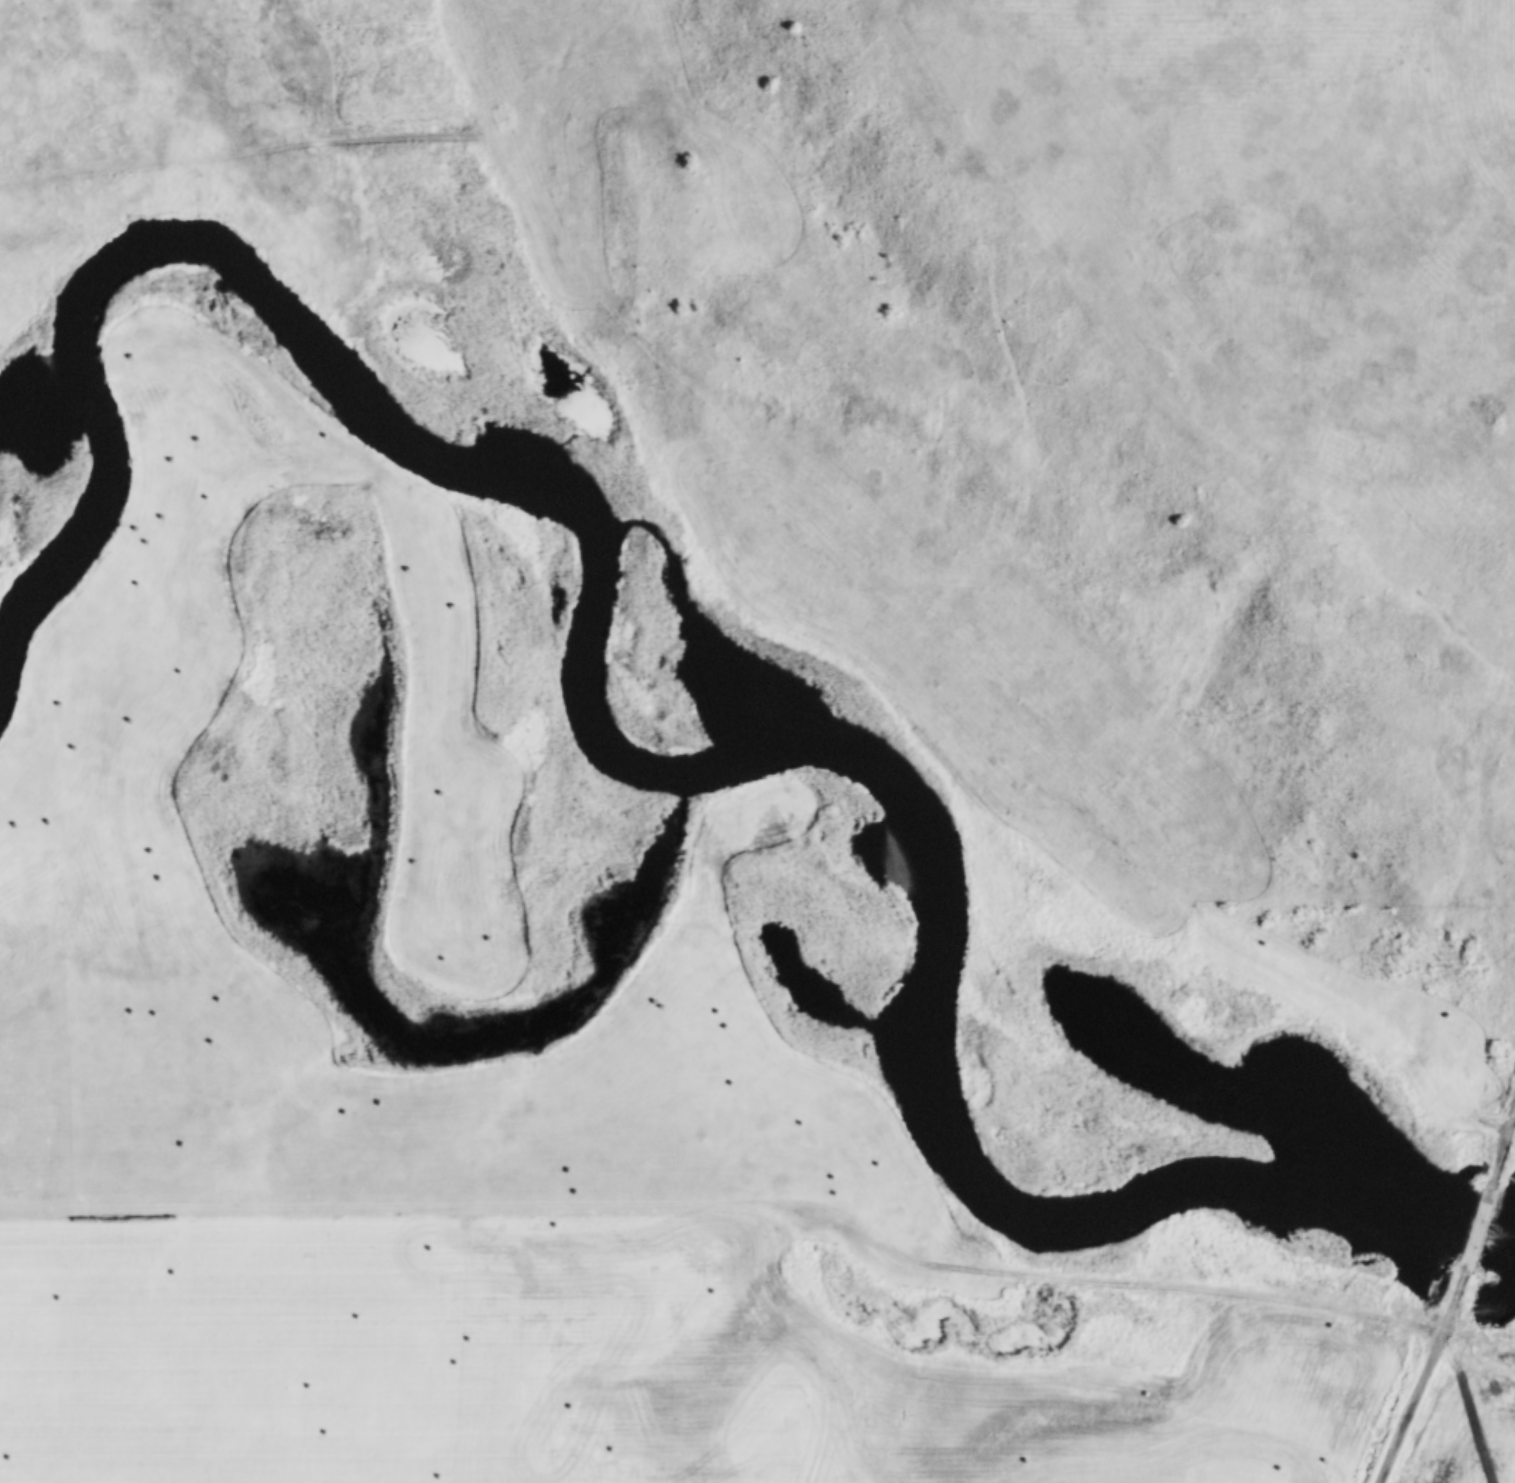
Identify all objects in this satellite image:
river: (285, 343)
river: (951, 1142)
road: (1452, 1301)

